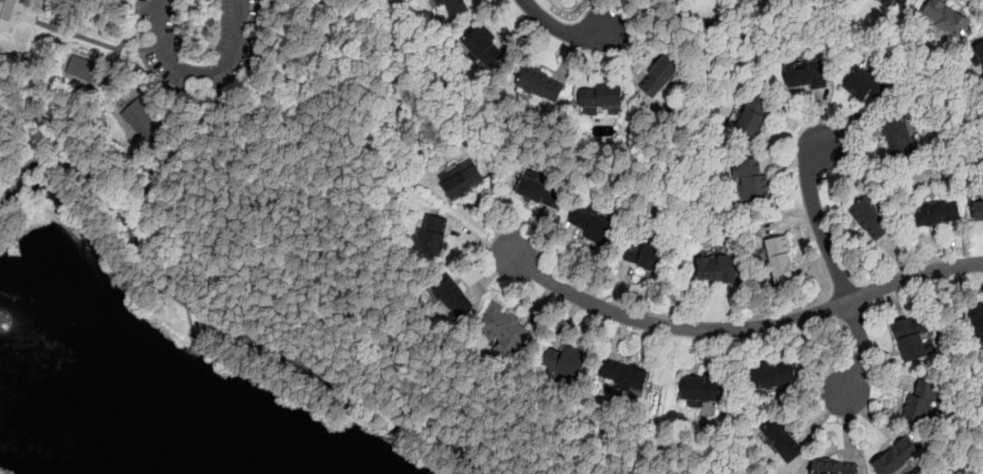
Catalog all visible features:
building: (901, 1)
building: (887, 2)
building: (452, 6)
building: (946, 18)
park: (15, 24)
road: (557, 28)
parking lot: (243, 47)
building: (484, 48)
building: (979, 53)
building: (83, 65)
road: (200, 73)
building: (806, 75)
building: (660, 77)
building: (539, 85)
building: (865, 85)
building: (600, 98)
building: (754, 115)
building: (143, 117)
building: (899, 135)
road: (175, 150)
building: (752, 178)
building: (461, 180)
building: (540, 192)
road: (497, 204)
building: (977, 210)
building: (936, 215)
building: (871, 221)
building: (591, 226)
building: (433, 236)
park: (222, 254)
building: (643, 255)
building: (779, 260)
building: (716, 268)
road: (836, 270)
building: (452, 294)
building: (977, 323)
road: (218, 324)
building: (504, 328)
road: (742, 328)
building: (914, 338)
building: (564, 361)
building: (624, 376)
building: (773, 376)
building: (699, 388)
building: (919, 402)
building: (783, 440)
building: (897, 457)
building: (833, 466)

